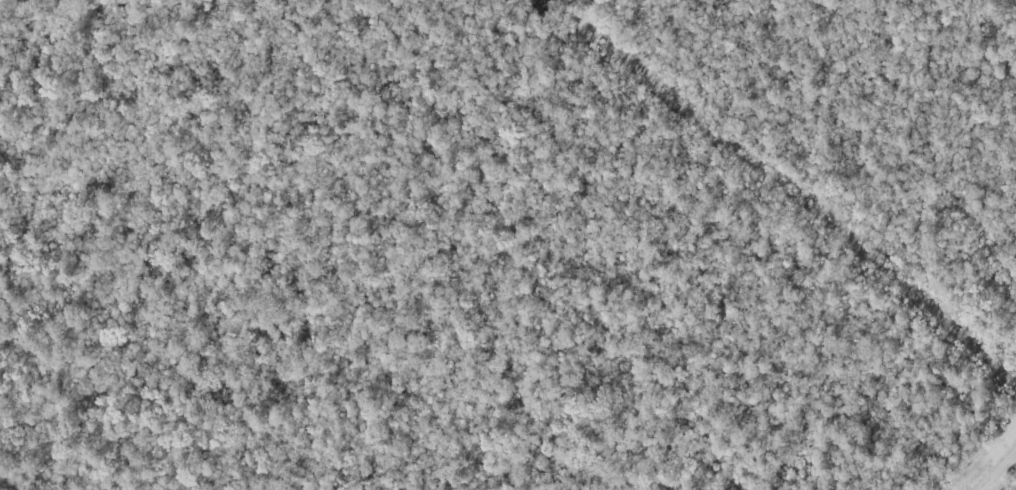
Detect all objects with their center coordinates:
road: (996, 469)

